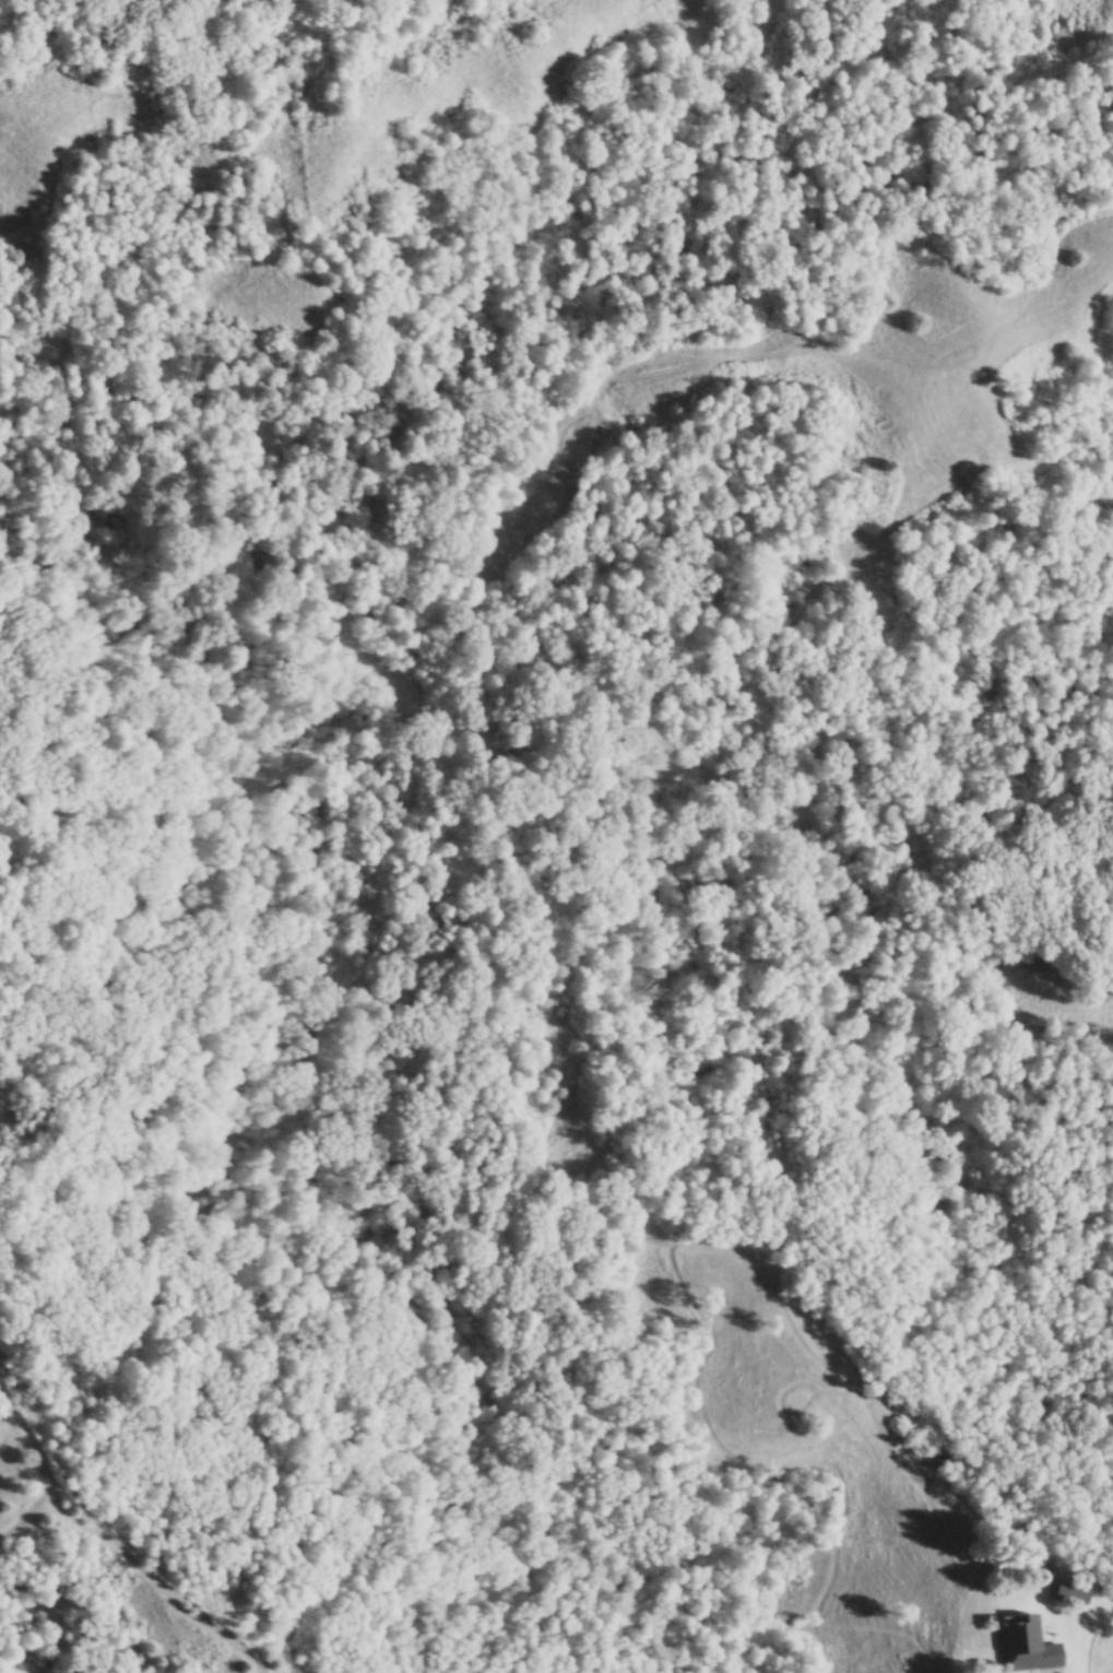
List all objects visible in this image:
road: (873, 10)
building: (1065, 1587)
building: (1021, 1642)
building: (27, 1672)

